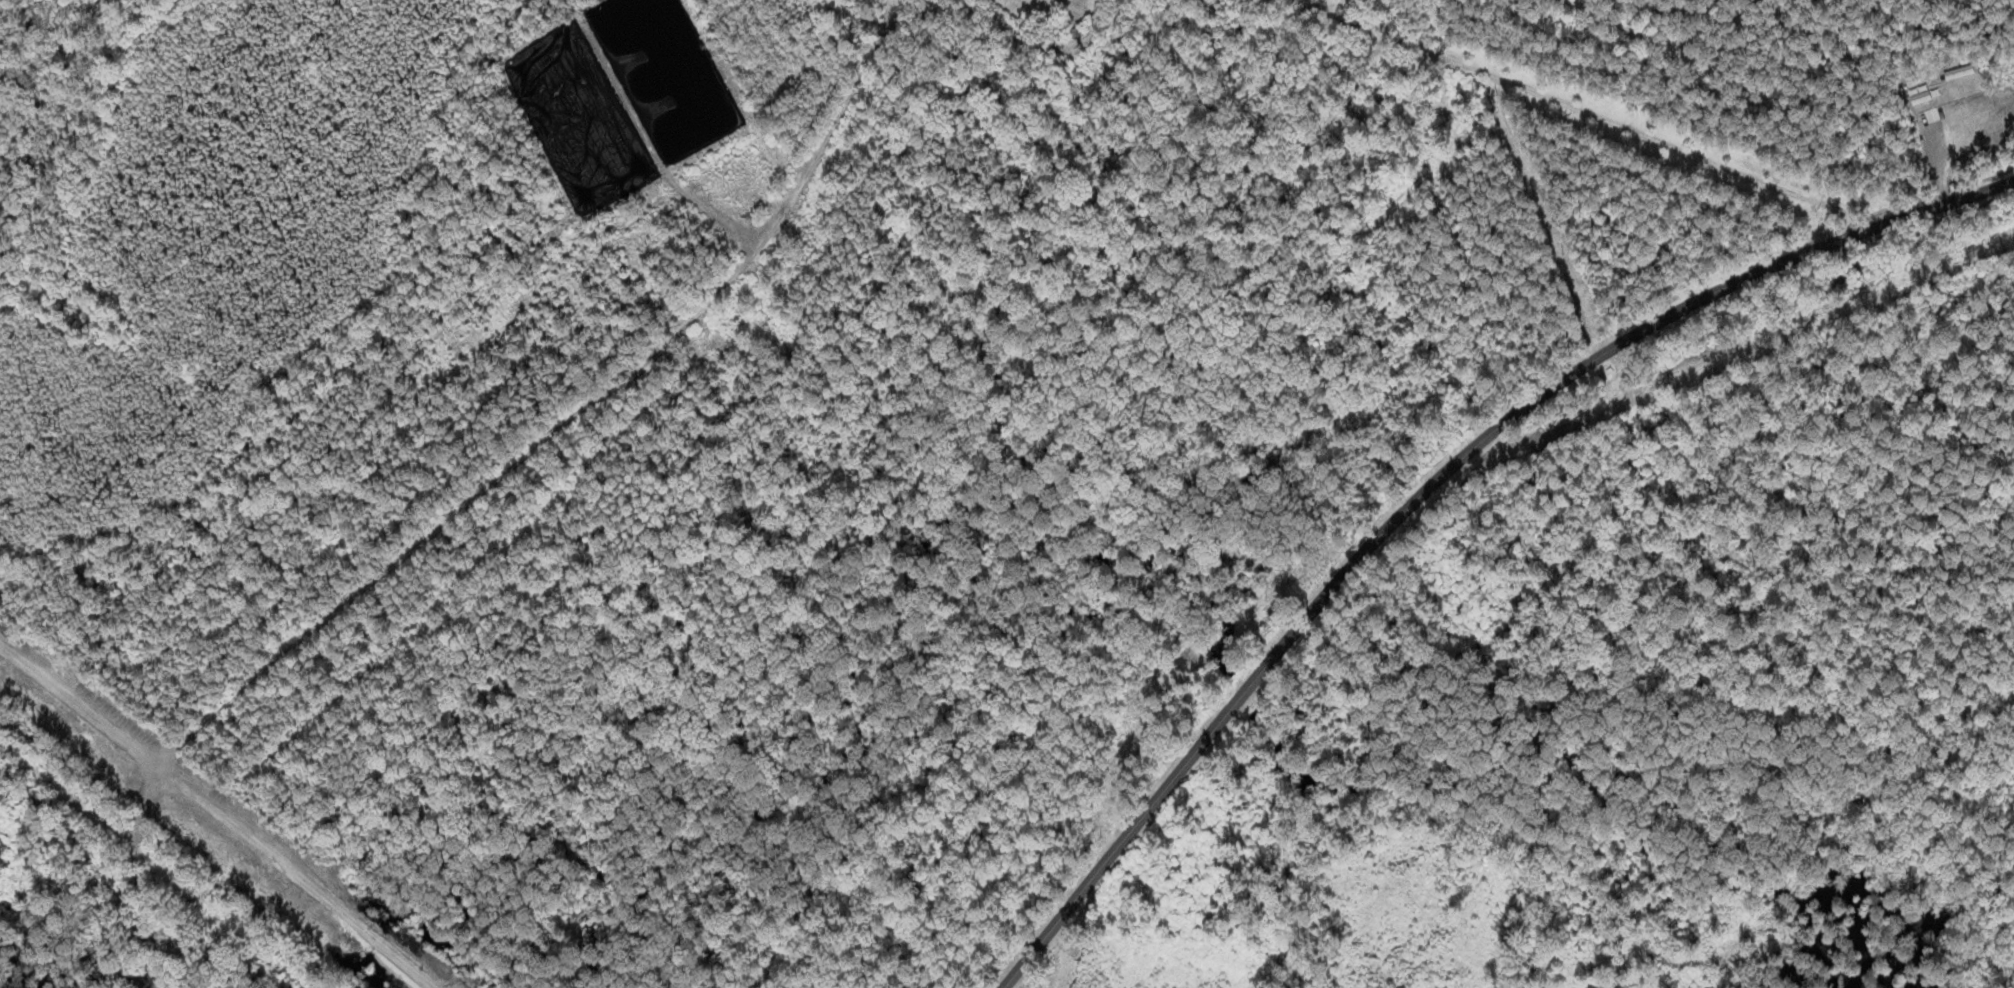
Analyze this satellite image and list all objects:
road: (1429, 477)

